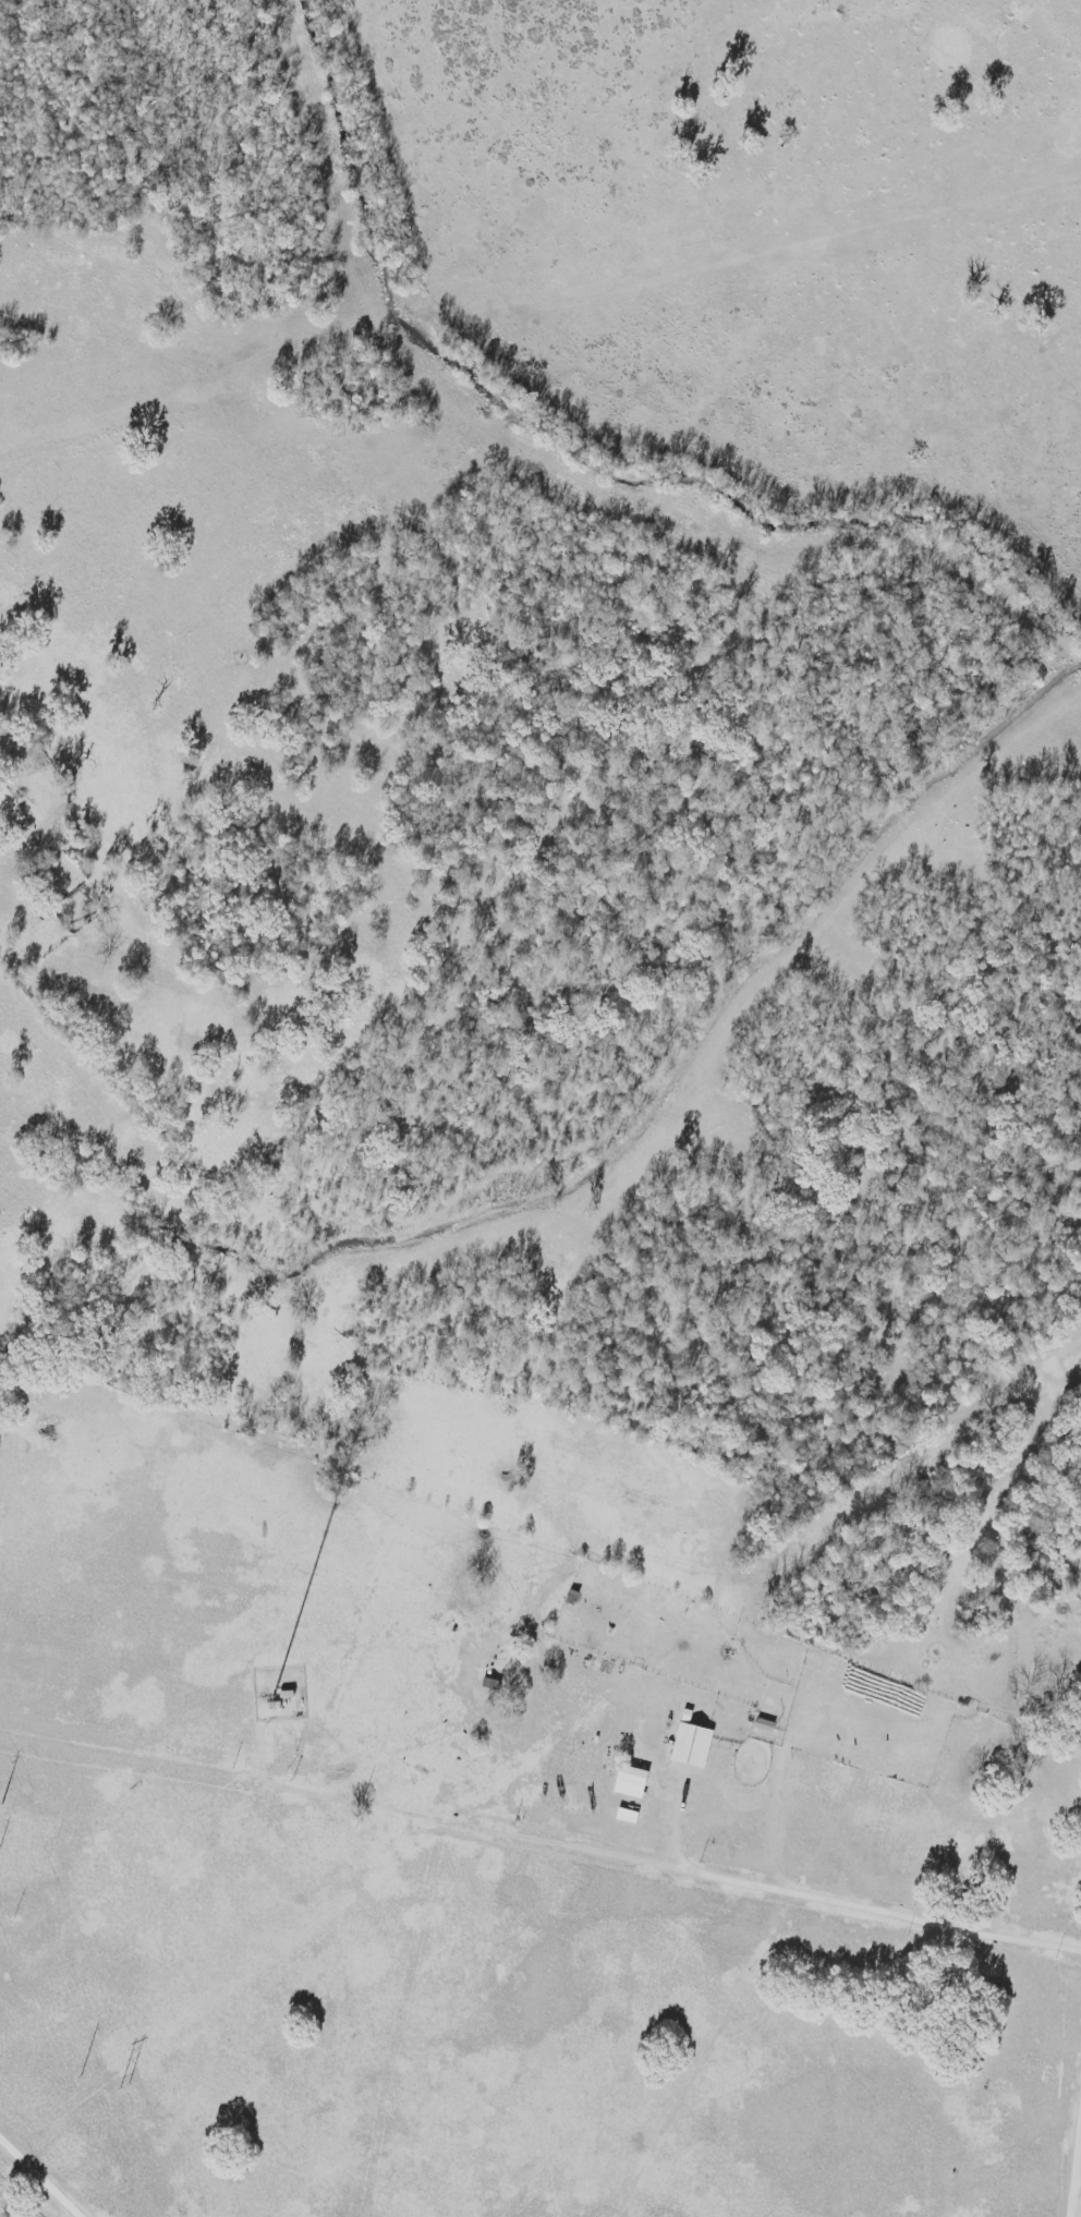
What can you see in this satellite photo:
building: (687, 1743)
building: (624, 1782)
power tower: (1, 1806)
road: (848, 1906)
power tower: (123, 2087)
road: (42, 2173)
road: (1078, 2191)

